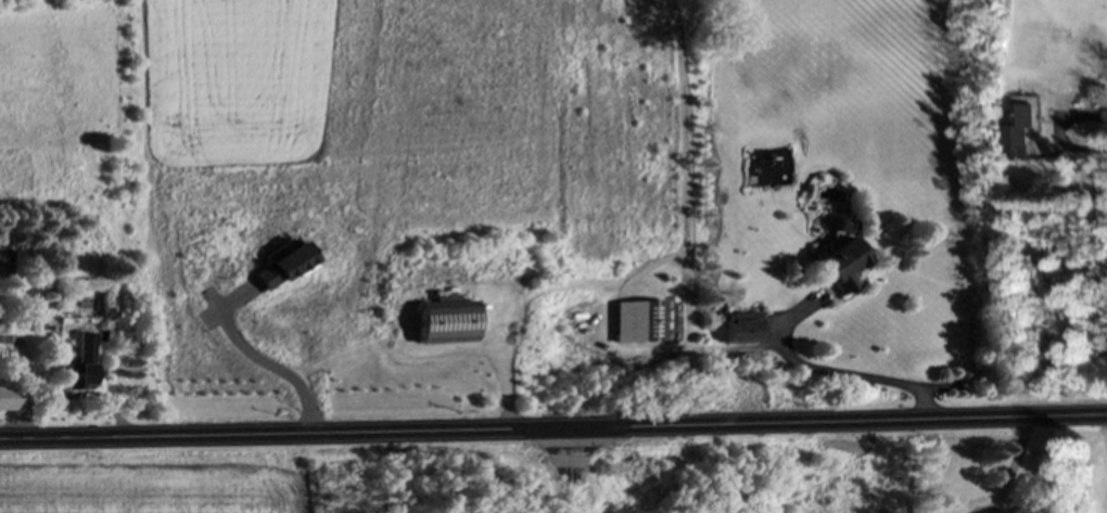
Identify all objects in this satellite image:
building: (1011, 131)
road: (1053, 132)
building: (837, 264)
building: (648, 321)
building: (444, 323)
building: (739, 326)
building: (78, 367)
road: (284, 369)
road: (837, 372)
building: (8, 400)
road: (553, 424)
road: (577, 469)

